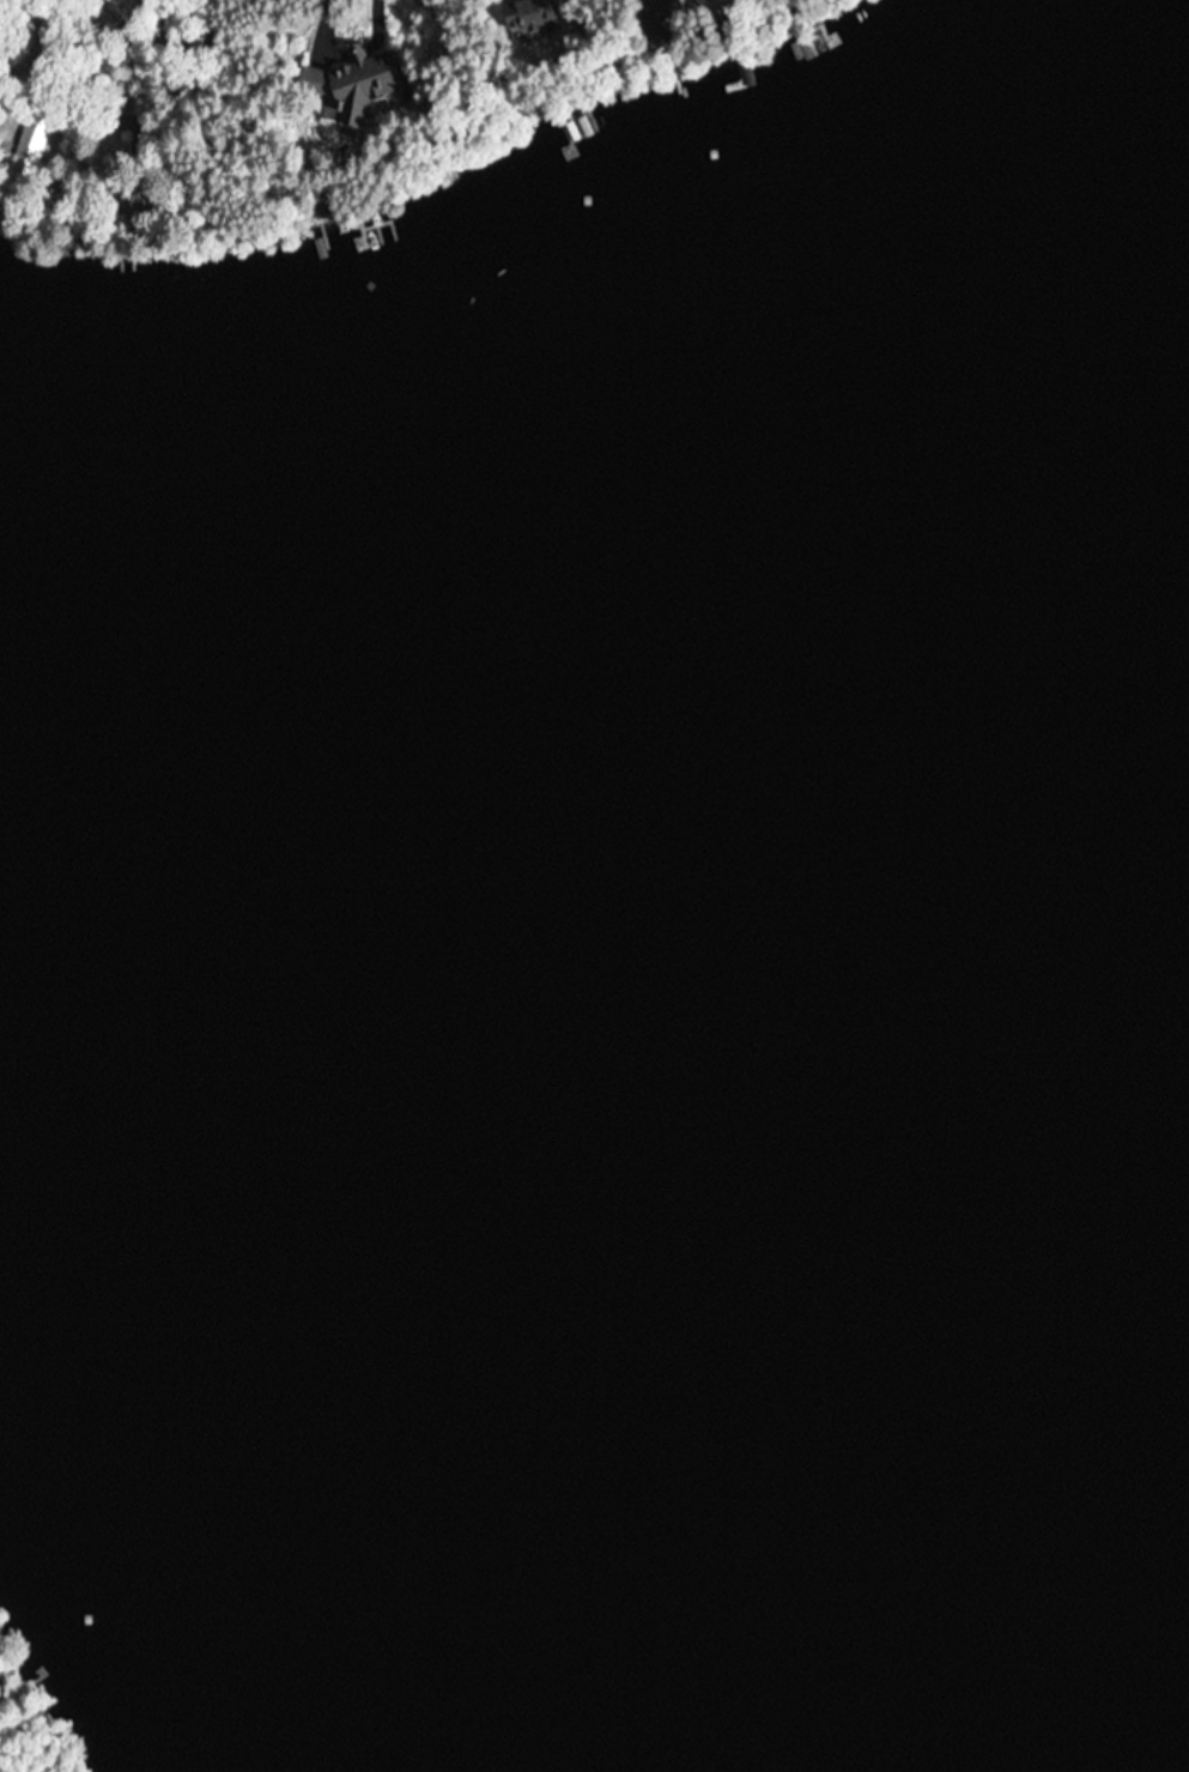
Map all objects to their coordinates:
building: (517, 7)
road: (68, 36)
building: (345, 85)
building: (29, 137)

